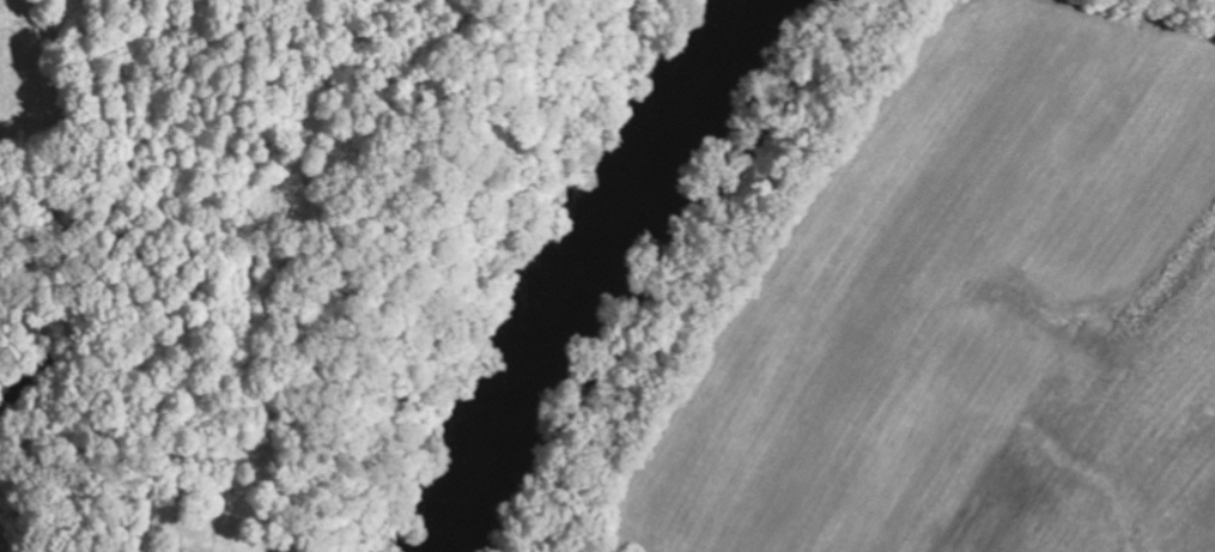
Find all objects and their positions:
river: (590, 265)

